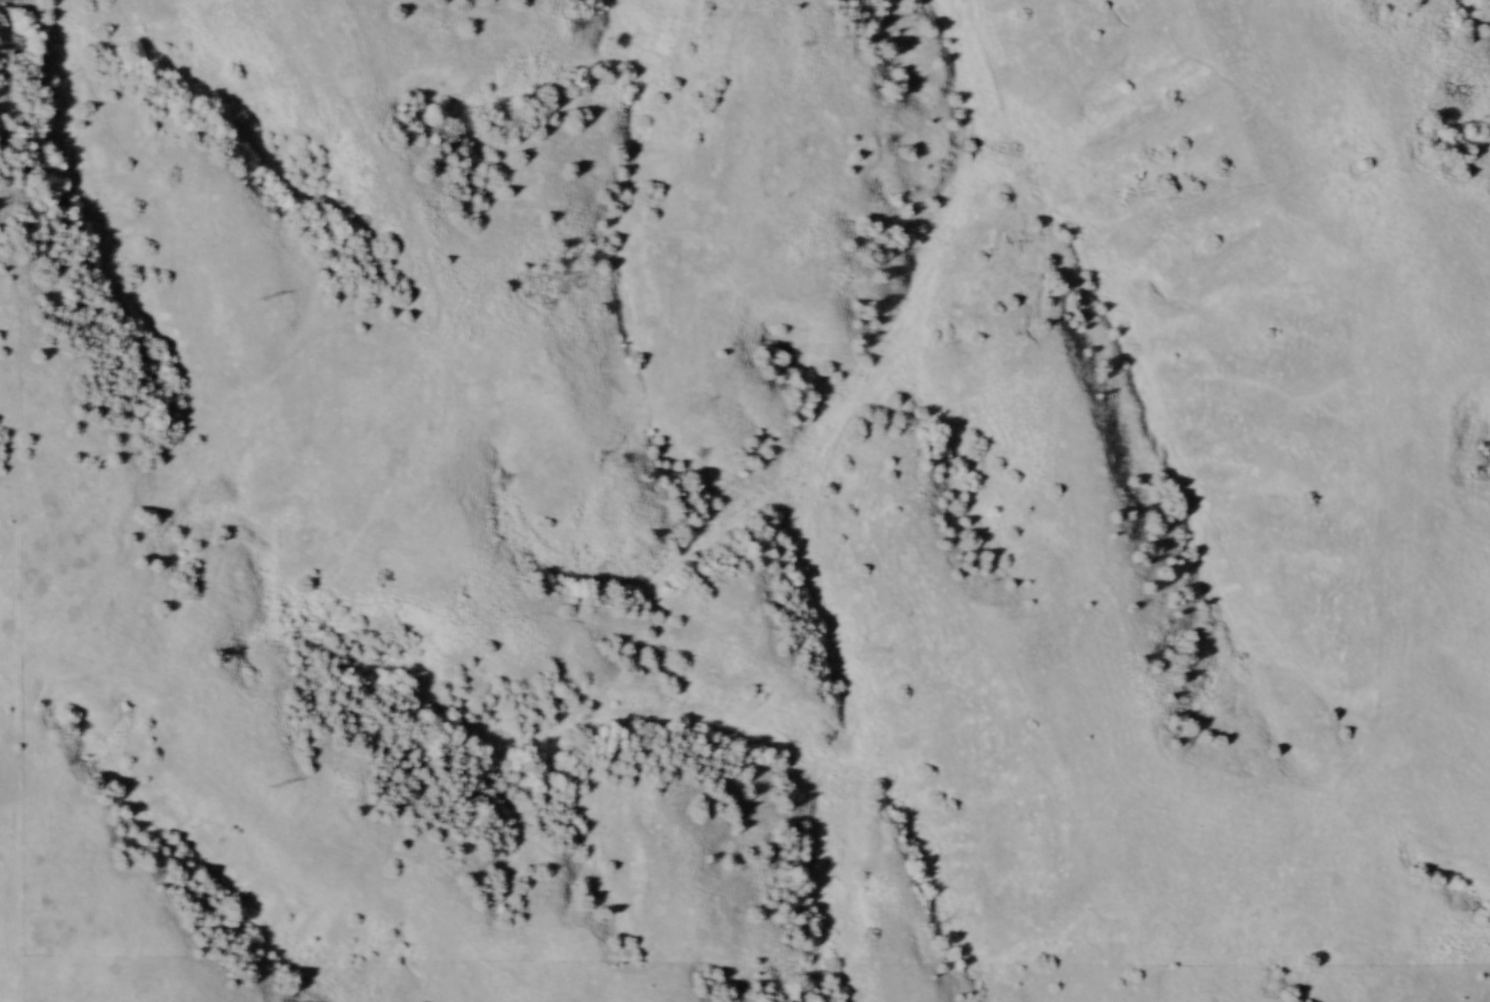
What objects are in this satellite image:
power tower: (259, 304)
power tower: (269, 790)

